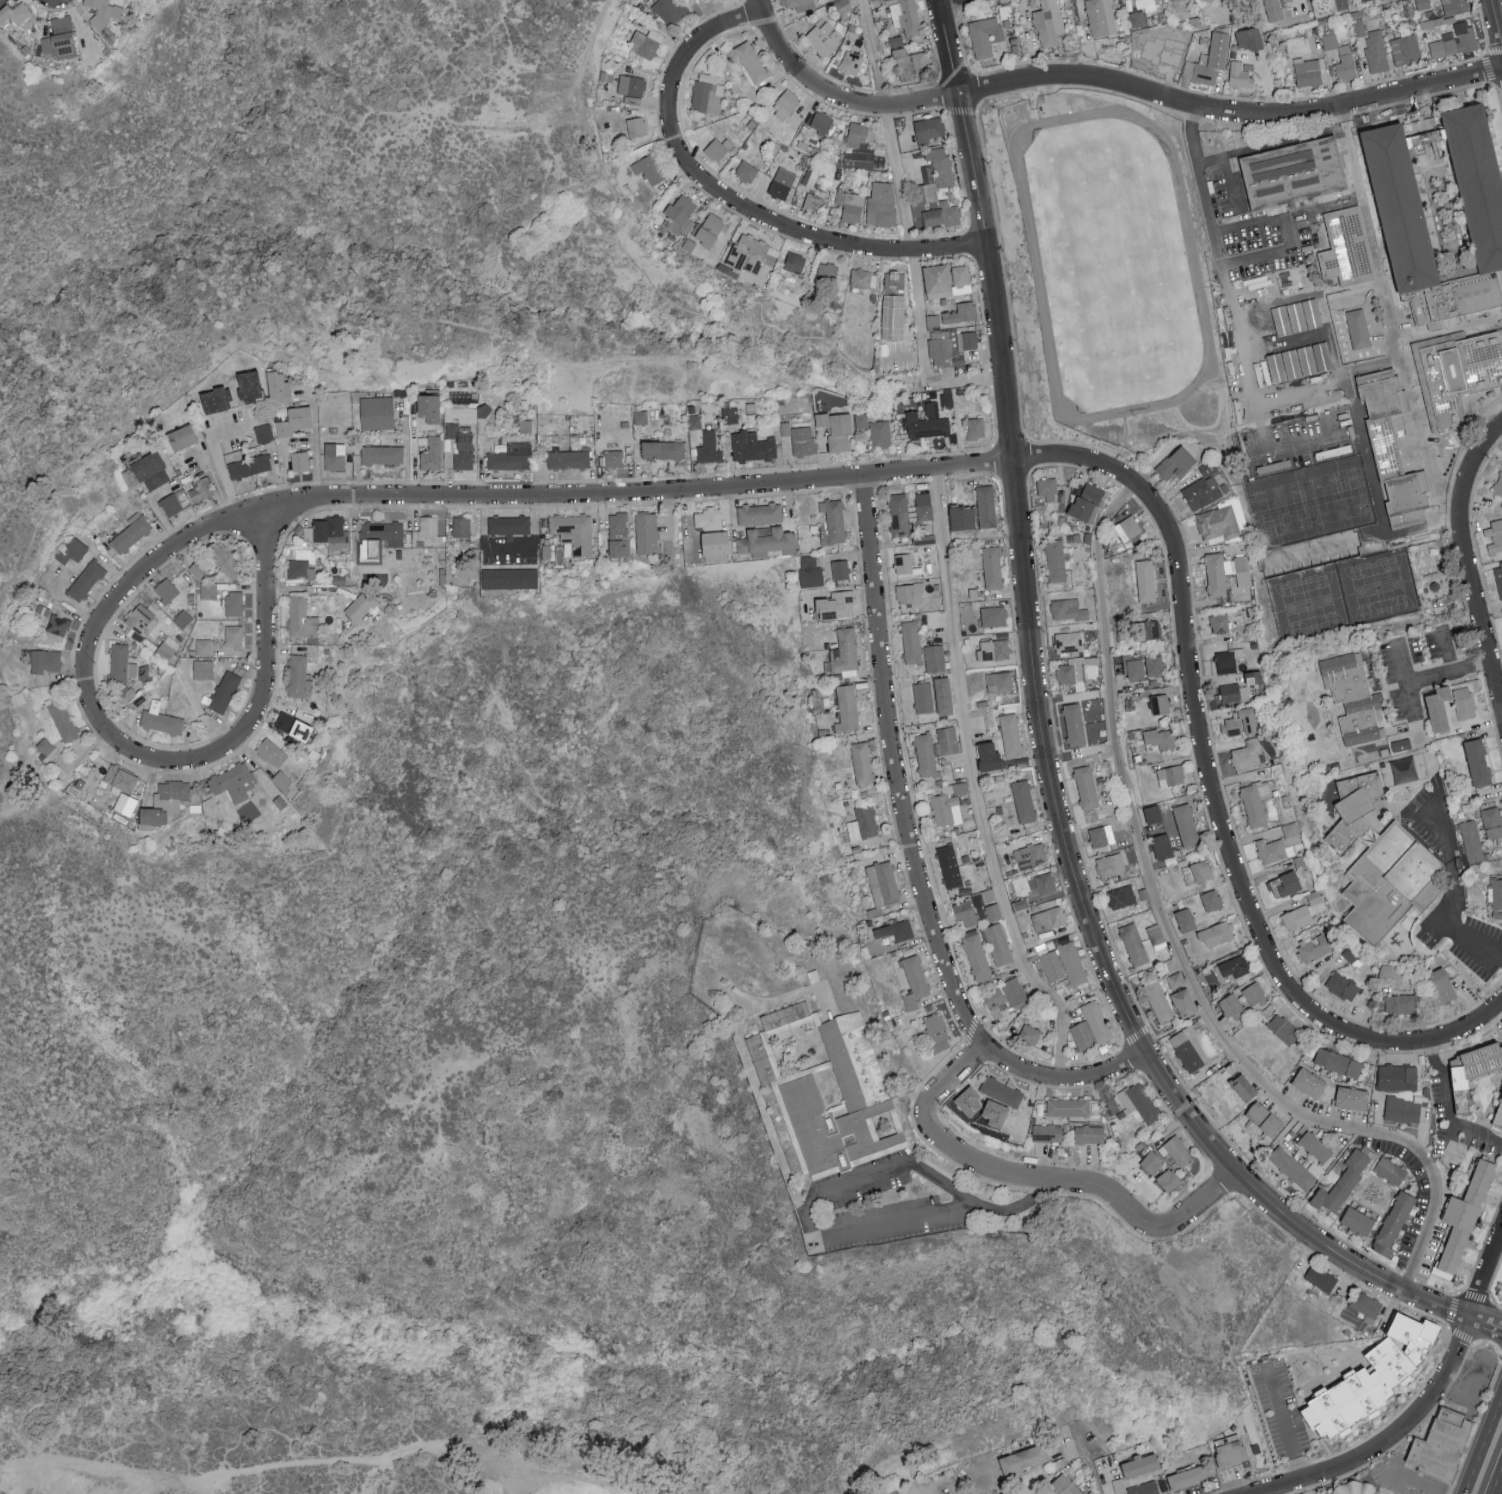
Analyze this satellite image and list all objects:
road: (940, 0)
building: (1363, 0)
building: (795, 3)
building: (1146, 4)
building: (1338, 4)
building: (1423, 4)
building: (842, 6)
building: (1456, 6)
building: (1275, 9)
building: (669, 10)
building: (15, 12)
building: (103, 12)
road: (705, 13)
building: (1102, 17)
road: (1497, 17)
building: (907, 18)
building: (1138, 18)
building: (1049, 24)
building: (1359, 27)
building: (985, 35)
building: (824, 37)
building: (1250, 38)
building: (59, 39)
building: (1329, 40)
building: (896, 41)
building: (1455, 42)
building: (645, 43)
building: (1405, 49)
building: (1376, 50)
building: (1163, 57)
building: (1209, 60)
building: (751, 61)
building: (848, 62)
building: (912, 63)
building: (1345, 63)
road: (1487, 63)
building: (1308, 72)
building: (1239, 75)
building: (631, 85)
road: (836, 92)
building: (707, 93)
building: (785, 104)
road: (1229, 114)
road: (1344, 117)
building: (820, 122)
building: (636, 126)
building: (928, 129)
building: (858, 136)
building: (718, 148)
building: (938, 152)
building: (859, 159)
building: (649, 168)
building: (746, 171)
building: (943, 171)
road: (1229, 171)
building: (1292, 171)
road: (700, 176)
building: (1475, 178)
building: (781, 182)
building: (926, 185)
parking lot: (1228, 192)
building: (815, 200)
building: (881, 203)
building: (1395, 203)
building: (850, 206)
building: (680, 214)
building: (942, 214)
park: (337, 216)
building: (710, 230)
road: (906, 231)
building: (1349, 245)
parking lot: (1258, 246)
road: (948, 247)
building: (751, 254)
building: (794, 262)
road: (1230, 264)
building: (826, 271)
building: (863, 277)
building: (961, 278)
building: (937, 279)
road: (651, 282)
building: (1455, 297)
building: (893, 304)
road: (1392, 308)
building: (954, 316)
building: (1293, 319)
building: (1360, 329)
road: (392, 340)
building: (951, 346)
building: (1302, 363)
building: (1461, 375)
building: (249, 386)
building: (278, 388)
building: (946, 399)
building: (216, 400)
building: (429, 407)
building: (377, 412)
building: (730, 415)
building: (640, 417)
building: (294, 420)
building: (862, 420)
building: (694, 421)
building: (927, 422)
building: (785, 428)
building: (974, 428)
building: (837, 429)
building: (263, 432)
building: (880, 433)
building: (181, 437)
road: (316, 440)
building: (803, 441)
building: (461, 446)
building: (752, 446)
building: (709, 448)
building: (1392, 448)
building: (663, 449)
building: (432, 454)
building: (382, 455)
building: (509, 455)
road: (218, 456)
building: (334, 456)
road: (285, 457)
building: (613, 458)
building: (568, 459)
building: (300, 461)
building: (1176, 463)
building: (249, 466)
building: (1204, 469)
building: (150, 470)
park: (1306, 477)
building: (1498, 485)
building: (1047, 488)
building: (200, 490)
road: (640, 490)
building: (1202, 491)
building: (1086, 501)
building: (170, 504)
building: (923, 506)
building: (985, 506)
building: (759, 513)
building: (898, 514)
building: (708, 518)
building: (833, 521)
building: (1218, 522)
building: (428, 526)
building: (461, 526)
building: (509, 526)
building: (1128, 528)
building: (384, 532)
building: (130, 533)
building: (646, 533)
building: (1497, 533)
building: (573, 534)
building: (618, 535)
building: (767, 541)
building: (714, 543)
building: (72, 550)
building: (224, 558)
building: (1055, 560)
road: (1466, 561)
building: (903, 562)
building: (992, 567)
building: (199, 569)
building: (301, 569)
building: (839, 569)
building: (810, 572)
building: (1225, 572)
building: (1499, 577)
building: (509, 578)
building: (86, 580)
building: (1146, 580)
park: (1379, 586)
building: (166, 590)
building: (208, 590)
building: (909, 593)
park: (1310, 603)
building: (233, 604)
building: (835, 605)
building: (358, 607)
building: (1068, 610)
building: (993, 616)
building: (301, 617)
building: (182, 619)
building: (141, 621)
building: (1219, 623)
building: (58, 624)
building: (1148, 630)
building: (233, 636)
building: (911, 642)
building: (1068, 642)
building: (167, 647)
building: (204, 647)
building: (993, 649)
road: (1450, 650)
building: (844, 653)
building: (934, 658)
building: (1227, 661)
building: (122, 662)
building: (44, 664)
building: (1154, 664)
building: (1134, 667)
building: (203, 669)
building: (1078, 670)
road: (1450, 672)
building: (299, 676)
road: (1499, 679)
building: (999, 681)
road: (1409, 682)
building: (224, 691)
building: (1234, 692)
building: (943, 695)
building: (923, 697)
building: (1353, 698)
building: (1160, 702)
building: (1464, 702)
building: (1438, 706)
building: (847, 707)
building: (160, 719)
building: (63, 720)
building: (1240, 721)
building: (1074, 723)
building: (293, 726)
building: (1011, 734)
building: (1135, 736)
building: (1166, 738)
building: (948, 739)
building: (1401, 743)
building: (45, 746)
road: (124, 749)
building: (272, 752)
building: (925, 753)
building: (1248, 753)
road: (1205, 758)
road: (1049, 760)
building: (1477, 761)
building: (862, 762)
building: (1170, 774)
building: (282, 780)
building: (233, 782)
road: (970, 783)
building: (1086, 786)
road: (2, 799)
building: (1023, 800)
building: (164, 803)
building: (948, 803)
building: (1253, 805)
road: (14, 807)
building: (1354, 807)
building: (1152, 812)
building: (1492, 821)
building: (863, 822)
building: (1186, 824)
road: (1432, 829)
building: (1101, 834)
building: (1472, 840)
building: (1279, 844)
building: (1162, 845)
road: (915, 854)
building: (1030, 855)
building: (1110, 864)
building: (949, 865)
building: (1197, 871)
building: (1045, 882)
building: (1287, 882)
building: (1393, 885)
road: (1458, 890)
building: (1495, 893)
building: (1120, 896)
building: (1211, 899)
building: (1020, 903)
building: (1304, 911)
building: (965, 912)
building: (1049, 918)
building: (1185, 919)
building: (895, 930)
building: (1216, 933)
building: (997, 943)
building: (1134, 943)
road: (1174, 950)
building: (976, 955)
building: (1072, 963)
building: (1050, 965)
building: (1233, 970)
building: (1175, 979)
building: (914, 980)
building: (1442, 984)
building: (1342, 985)
building: (1014, 990)
building: (1254, 994)
building: (995, 1000)
building: (1158, 1000)
building: (1184, 1002)
building: (1399, 1002)
building: (1230, 1003)
building: (1096, 1020)
building: (934, 1022)
road: (1475, 1023)
building: (1284, 1028)
building: (1029, 1034)
building: (1082, 1034)
building: (940, 1040)
building: (1191, 1051)
building: (1338, 1061)
building: (1472, 1069)
building: (1397, 1077)
road: (754, 1078)
building: (1309, 1082)
building: (1243, 1086)
building: (1002, 1091)
building: (868, 1097)
building: (1351, 1097)
building: (1143, 1102)
building: (1067, 1106)
road: (1449, 1107)
building: (1403, 1109)
building: (1498, 1114)
building: (1264, 1118)
park: (486, 1121)
road: (1478, 1131)
building: (1047, 1132)
building: (1089, 1133)
building: (1315, 1146)
building: (1178, 1150)
building: (1152, 1161)
building: (1292, 1167)
building: (1390, 1170)
building: (1169, 1179)
road: (1040, 1180)
building: (1342, 1182)
road: (980, 1208)
parking lot: (880, 1209)
building: (1463, 1214)
building: (1357, 1220)
building: (1392, 1225)
road: (817, 1239)
road: (1485, 1274)
building: (1320, 1277)
road: (1490, 1284)
park: (1497, 1287)
building: (1366, 1305)
road: (1453, 1311)
building: (1400, 1349)
road: (1461, 1363)
road: (1467, 1381)
parking lot: (1471, 1386)
parking lot: (1323, 1414)
road: (1288, 1434)
road: (1395, 1438)
road: (1482, 1442)
park: (506, 1447)
building: (1439, 1447)
building: (1232, 1453)
building: (1023, 1459)
building: (1140, 1465)
road: (237, 1469)
park: (549, 1475)
road: (1104, 1475)
road: (493, 1476)
building: (1187, 1477)
road: (569, 1478)
road: (942, 1481)
road: (1497, 1481)
parking lot: (1406, 1482)
road: (1413, 1483)
building: (1065, 1485)
road: (540, 1486)
building: (1144, 1488)
building: (1354, 1488)
building: (1006, 1493)

